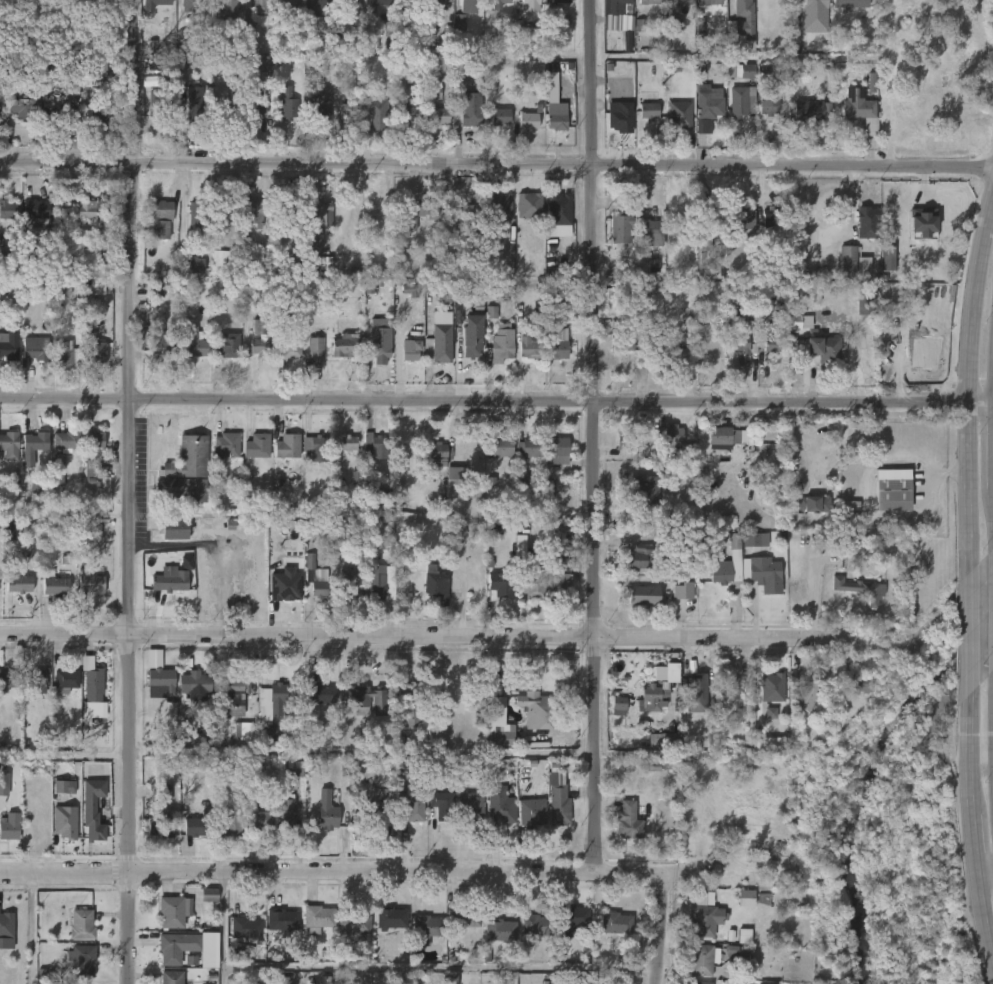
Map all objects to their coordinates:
building: (405, 0)
building: (440, 0)
building: (561, 1)
building: (647, 1)
building: (708, 1)
building: (681, 2)
building: (851, 3)
building: (152, 4)
building: (350, 4)
building: (499, 4)
building: (191, 5)
building: (529, 5)
building: (259, 6)
building: (314, 6)
building: (469, 6)
building: (617, 6)
building: (372, 8)
building: (290, 10)
building: (228, 11)
building: (745, 11)
building: (812, 15)
building: (459, 22)
building: (639, 25)
building: (673, 26)
building: (185, 63)
building: (264, 65)
building: (467, 67)
building: (91, 70)
building: (740, 71)
building: (152, 81)
building: (871, 84)
building: (432, 92)
building: (158, 102)
building: (742, 102)
building: (287, 103)
building: (319, 103)
building: (256, 104)
building: (710, 104)
building: (194, 105)
building: (218, 105)
building: (768, 105)
building: (857, 105)
building: (22, 106)
building: (470, 109)
building: (808, 110)
building: (648, 111)
building: (106, 112)
building: (345, 112)
building: (410, 113)
building: (377, 115)
building: (437, 115)
building: (502, 116)
building: (680, 116)
building: (621, 118)
building: (528, 121)
building: (559, 121)
road: (496, 163)
building: (532, 205)
building: (499, 206)
building: (35, 208)
building: (562, 208)
building: (7, 209)
building: (87, 209)
building: (254, 212)
building: (320, 214)
building: (199, 215)
building: (225, 215)
building: (289, 215)
building: (737, 215)
building: (160, 218)
building: (770, 218)
building: (414, 219)
building: (461, 219)
building: (678, 219)
building: (708, 219)
building: (864, 222)
building: (922, 223)
building: (620, 227)
building: (650, 232)
building: (887, 258)
building: (225, 260)
building: (7, 261)
building: (849, 261)
building: (320, 263)
building: (196, 265)
building: (653, 266)
building: (62, 287)
building: (156, 289)
building: (13, 290)
building: (410, 291)
building: (444, 295)
building: (864, 301)
building: (491, 312)
building: (472, 335)
building: (261, 336)
building: (441, 336)
building: (737, 340)
building: (163, 341)
building: (194, 341)
building: (622, 341)
building: (651, 341)
building: (288, 342)
building: (502, 342)
building: (557, 342)
building: (10, 345)
building: (228, 345)
building: (348, 345)
building: (772, 345)
building: (381, 346)
building: (529, 346)
building: (34, 347)
building: (315, 347)
building: (825, 350)
building: (411, 351)
building: (98, 352)
building: (67, 355)
road: (966, 381)
road: (496, 400)
road: (593, 435)
building: (674, 435)
building: (721, 435)
building: (66, 440)
building: (94, 440)
building: (624, 442)
building: (316, 443)
building: (348, 443)
building: (9, 445)
building: (33, 445)
building: (229, 446)
building: (260, 446)
building: (290, 446)
building: (377, 446)
building: (505, 447)
building: (533, 448)
building: (560, 450)
building: (437, 455)
building: (92, 469)
building: (185, 472)
building: (57, 478)
building: (455, 482)
building: (35, 488)
building: (643, 489)
building: (890, 490)
road: (129, 491)
building: (812, 504)
building: (177, 529)
building: (85, 532)
building: (752, 539)
building: (520, 546)
building: (639, 556)
building: (187, 562)
building: (725, 563)
building: (763, 573)
building: (560, 577)
building: (317, 578)
building: (381, 579)
building: (172, 582)
building: (18, 583)
building: (352, 584)
building: (436, 584)
building: (285, 585)
building: (531, 585)
building: (55, 586)
building: (503, 586)
building: (859, 589)
building: (682, 591)
building: (88, 592)
building: (640, 595)
road: (424, 635)
road: (966, 636)
building: (665, 671)
building: (8, 678)
building: (161, 679)
building: (65, 680)
building: (35, 681)
building: (855, 683)
building: (92, 684)
building: (770, 687)
building: (193, 688)
building: (323, 692)
building: (730, 692)
building: (695, 693)
building: (809, 694)
building: (235, 696)
building: (363, 696)
building: (641, 699)
building: (270, 701)
building: (410, 706)
building: (537, 708)
building: (771, 713)
building: (499, 721)
building: (563, 721)
building: (242, 731)
building: (269, 736)
building: (664, 739)
building: (769, 743)
road: (360, 755)
building: (292, 767)
building: (99, 775)
building: (4, 784)
building: (64, 787)
building: (500, 800)
building: (561, 804)
building: (415, 805)
building: (445, 805)
building: (472, 806)
building: (93, 809)
building: (287, 809)
building: (534, 809)
building: (325, 810)
building: (372, 816)
building: (259, 819)
building: (64, 821)
building: (631, 821)
building: (231, 822)
building: (197, 824)
building: (9, 827)
building: (159, 827)
road: (975, 828)
road: (985, 870)
road: (332, 871)
road: (745, 874)
building: (745, 898)
building: (764, 899)
building: (175, 911)
building: (575, 914)
building: (704, 915)
building: (395, 916)
building: (464, 916)
building: (321, 918)
building: (283, 920)
building: (619, 922)
building: (353, 923)
building: (6, 925)
building: (80, 925)
building: (247, 926)
building: (536, 926)
road: (31, 928)
road: (225, 928)
building: (426, 928)
road: (660, 928)
building: (500, 929)
building: (744, 936)
building: (179, 947)
building: (699, 959)
building: (81, 961)
road: (441, 969)
building: (171, 977)
building: (73, 983)
building: (698, 983)
building: (768, 983)

